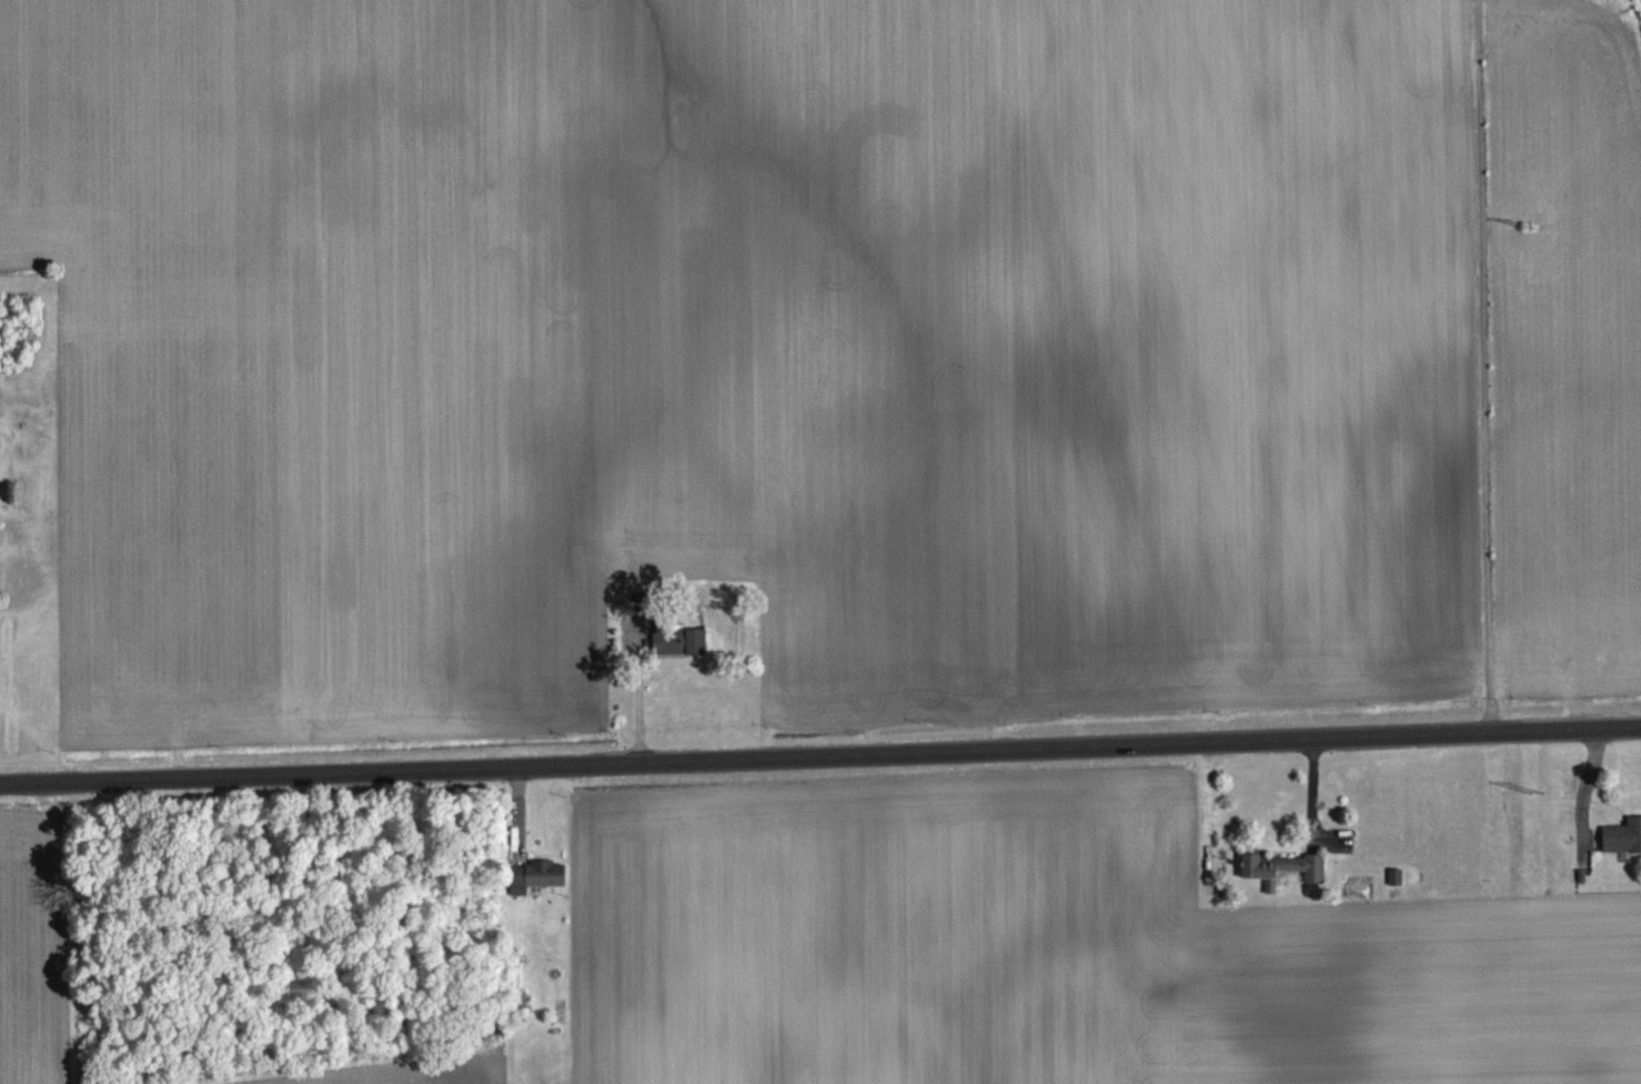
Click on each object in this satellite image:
road: (1484, 364)
building: (642, 614)
building: (678, 653)
road: (641, 694)
road: (820, 754)
building: (1622, 850)
building: (1283, 882)
building: (536, 889)
building: (1396, 890)

